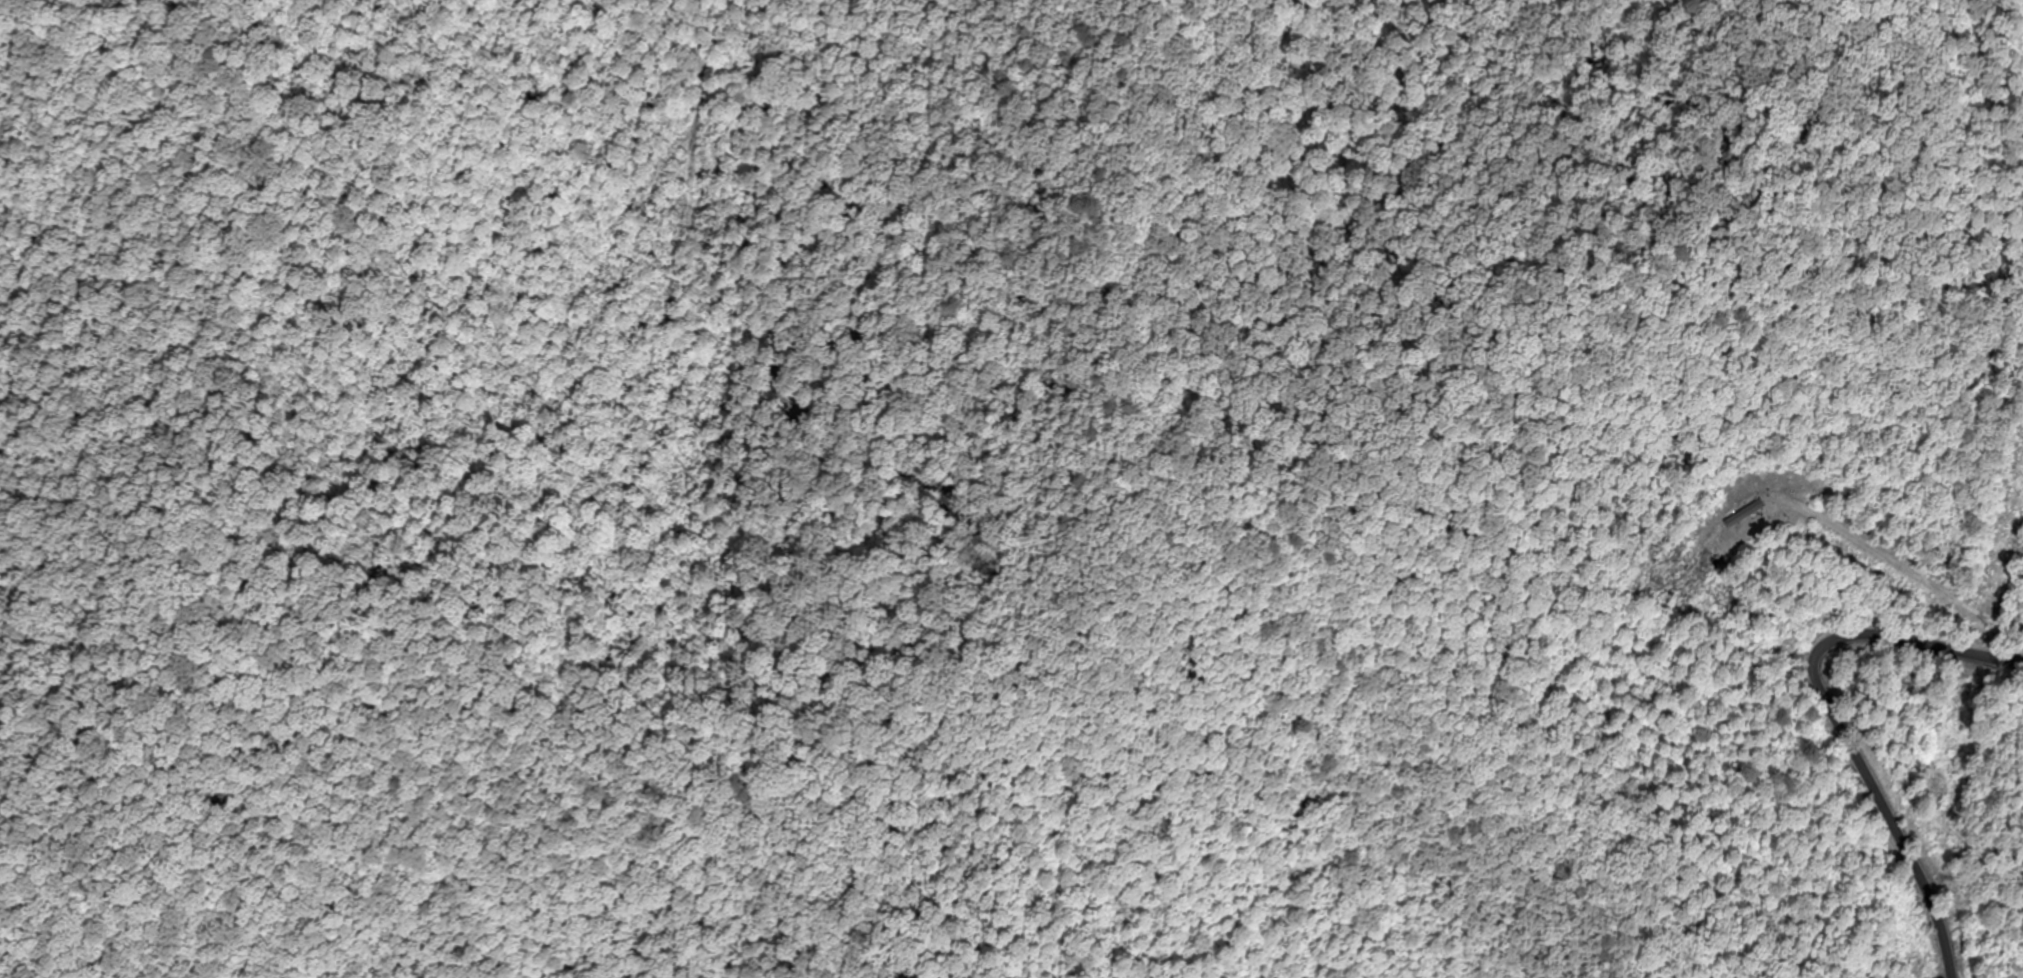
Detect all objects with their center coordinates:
road: (1845, 725)

